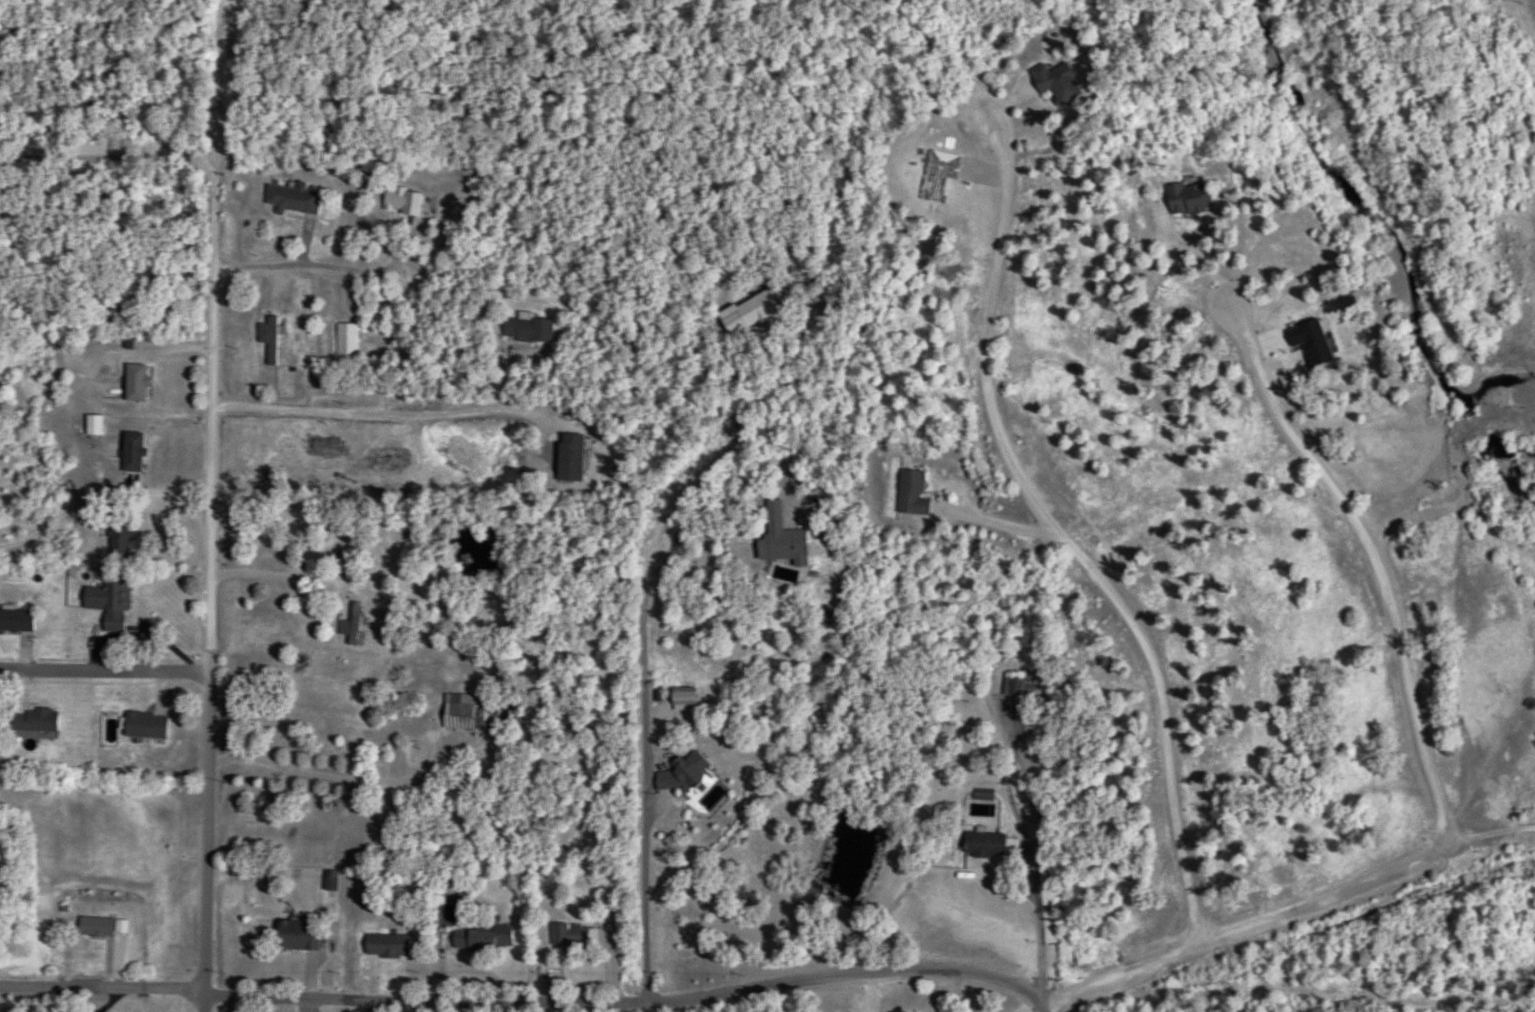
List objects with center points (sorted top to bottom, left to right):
building: (1055, 82)
road: (233, 83)
road: (115, 157)
building: (1188, 198)
building: (292, 199)
building: (401, 201)
road: (310, 269)
building: (757, 308)
building: (527, 330)
building: (268, 339)
building: (1309, 341)
building: (134, 382)
road: (355, 411)
building: (92, 425)
building: (131, 452)
building: (326, 454)
building: (569, 457)
building: (910, 493)
building: (780, 538)
building: (119, 540)
road: (1061, 541)
road: (1366, 555)
road: (165, 562)
road: (667, 567)
road: (208, 588)
building: (108, 601)
road: (1458, 611)
building: (15, 621)
building: (349, 623)
road: (104, 672)
road: (342, 677)
building: (1016, 685)
building: (459, 711)
building: (33, 721)
building: (144, 725)
building: (678, 773)
road: (341, 780)
building: (981, 794)
building: (983, 844)
road: (1037, 849)
building: (329, 880)
building: (94, 927)
building: (571, 935)
building: (297, 936)
building: (482, 939)
road: (620, 941)
building: (386, 945)
road: (496, 977)
road: (1046, 1003)
road: (524, 1007)
road: (444, 1008)

